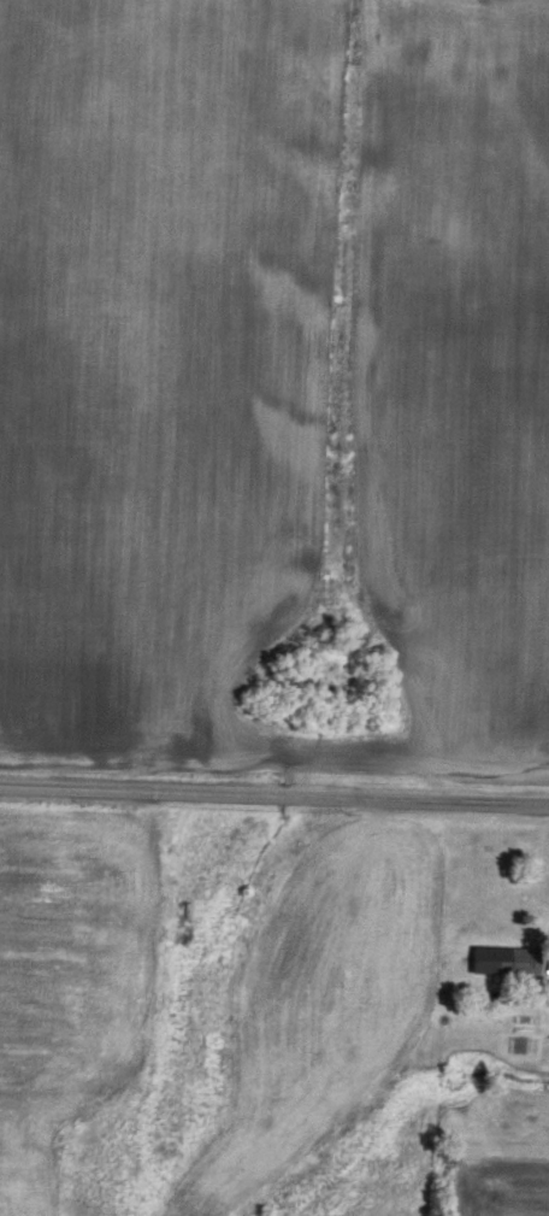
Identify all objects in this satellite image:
road: (274, 794)
building: (507, 957)

